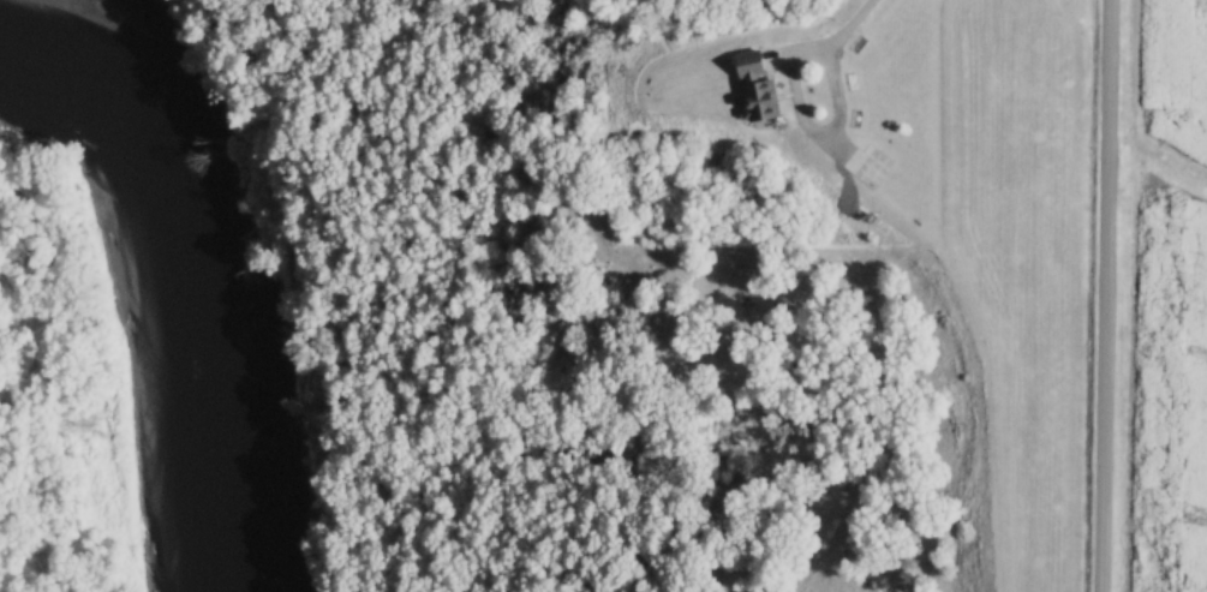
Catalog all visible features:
building: (759, 84)
river: (189, 293)
road: (1101, 295)

